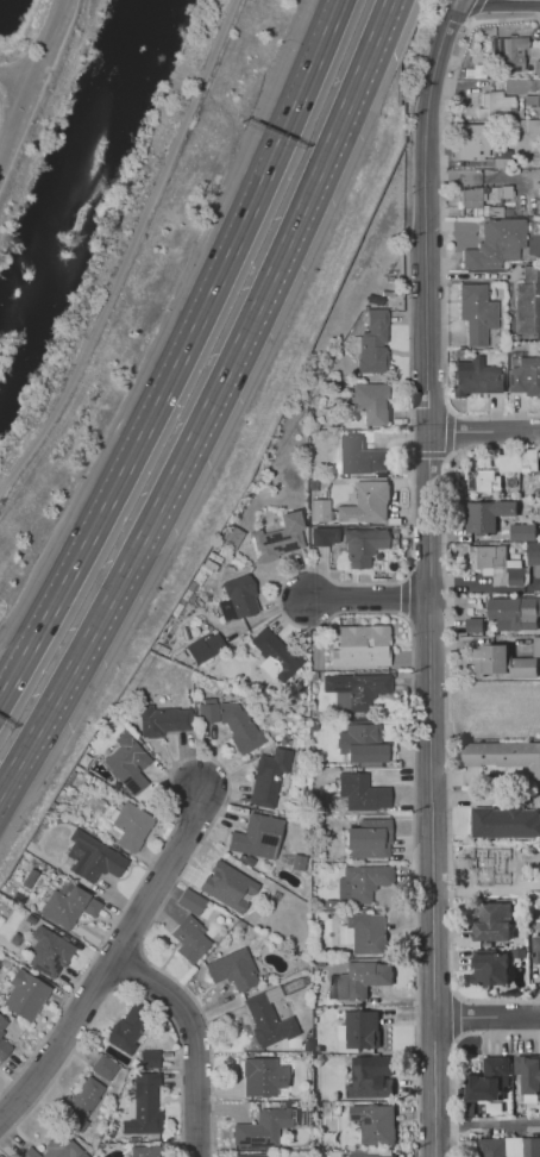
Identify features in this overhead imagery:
road: (473, 8)
road: (471, 21)
building: (510, 51)
building: (536, 67)
road: (13, 80)
road: (29, 80)
building: (521, 85)
building: (496, 105)
building: (475, 140)
park: (86, 180)
building: (471, 196)
road: (442, 226)
road: (460, 243)
building: (496, 243)
road: (426, 245)
road: (131, 251)
road: (464, 276)
road: (452, 300)
building: (528, 300)
building: (477, 313)
road: (409, 315)
road: (446, 338)
building: (375, 343)
road: (397, 352)
road: (182, 355)
building: (526, 375)
building: (478, 376)
road: (208, 401)
building: (372, 402)
road: (447, 430)
road: (484, 437)
building: (363, 456)
road: (428, 456)
building: (517, 459)
building: (484, 481)
building: (368, 504)
building: (316, 511)
building: (486, 513)
building: (522, 531)
building: (325, 536)
building: (277, 538)
building: (364, 545)
building: (533, 554)
building: (500, 564)
road: (429, 575)
building: (239, 596)
road: (404, 596)
road: (372, 601)
road: (362, 611)
building: (515, 612)
building: (472, 624)
building: (203, 646)
building: (364, 646)
building: (535, 646)
building: (278, 656)
building: (501, 662)
building: (363, 692)
building: (164, 720)
building: (232, 721)
building: (362, 744)
building: (503, 755)
building: (128, 763)
road: (447, 764)
road: (224, 768)
building: (269, 777)
building: (363, 793)
building: (506, 820)
building: (133, 826)
building: (257, 837)
building: (370, 839)
building: (93, 857)
building: (492, 865)
building: (368, 881)
building: (224, 884)
building: (191, 901)
building: (69, 906)
building: (492, 920)
building: (368, 932)
building: (190, 938)
building: (536, 949)
building: (51, 955)
road: (112, 967)
building: (491, 967)
building: (233, 970)
building: (359, 980)
road: (123, 989)
building: (25, 996)
road: (456, 1014)
road: (488, 1018)
building: (268, 1021)
building: (4, 1024)
building: (128, 1026)
building: (362, 1030)
road: (201, 1038)
building: (4, 1049)
road: (451, 1053)
building: (150, 1058)
building: (103, 1067)
building: (528, 1072)
building: (264, 1076)
building: (490, 1080)
building: (368, 1083)
building: (79, 1102)
building: (143, 1107)
building: (375, 1125)
road: (488, 1125)
building: (263, 1128)
building: (508, 1146)
building: (55, 1150)
building: (144, 1151)
building: (368, 1155)
building: (247, 1156)

